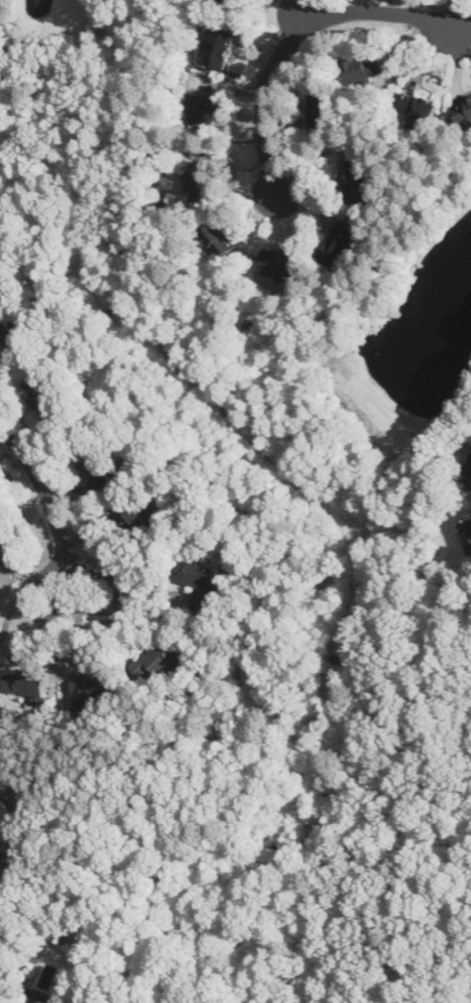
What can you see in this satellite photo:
building: (234, 0)
road: (300, 28)
building: (220, 46)
building: (364, 66)
building: (415, 105)
building: (205, 106)
building: (463, 109)
building: (320, 110)
building: (361, 178)
building: (206, 179)
building: (220, 236)
building: (338, 241)
building: (279, 262)
building: (10, 333)
dam: (385, 388)
building: (48, 403)
building: (98, 468)
building: (470, 478)
road: (43, 489)
building: (131, 515)
building: (468, 533)
building: (4, 549)
building: (197, 580)
road: (72, 605)
building: (158, 657)
building: (28, 681)
building: (95, 682)
road: (218, 735)
building: (1, 984)
building: (37, 993)

